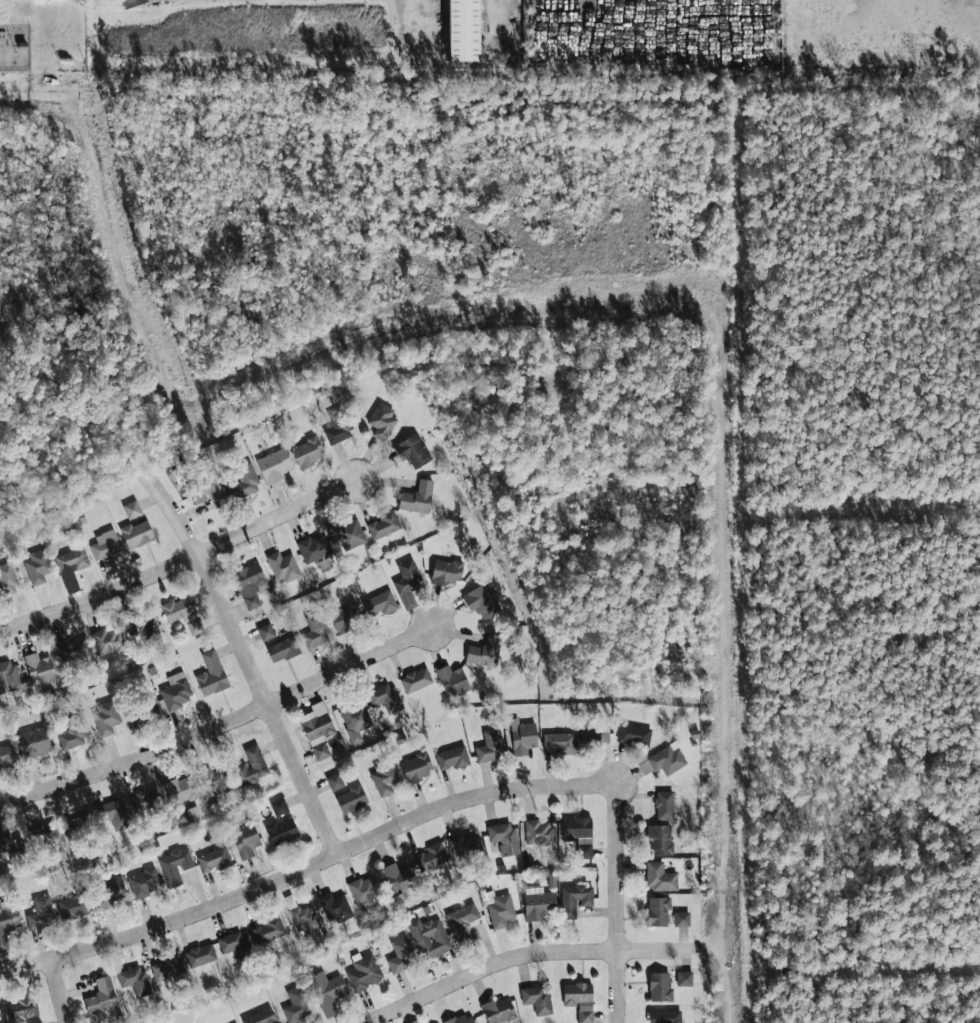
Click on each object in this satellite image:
building: (462, 30)
road: (35, 95)
building: (382, 421)
building: (338, 427)
building: (412, 451)
building: (307, 453)
building: (273, 466)
building: (245, 480)
building: (207, 492)
building: (417, 498)
building: (132, 509)
building: (384, 525)
building: (137, 534)
building: (347, 534)
building: (105, 545)
building: (314, 549)
road: (180, 562)
building: (37, 567)
building: (71, 567)
building: (283, 567)
building: (446, 571)
building: (7, 579)
building: (407, 583)
building: (250, 585)
building: (481, 601)
building: (379, 603)
building: (178, 609)
building: (345, 617)
building: (194, 626)
building: (315, 631)
building: (266, 632)
building: (107, 641)
building: (72, 649)
road: (242, 650)
building: (282, 650)
building: (484, 652)
building: (39, 668)
building: (211, 674)
building: (8, 676)
building: (415, 679)
building: (451, 679)
building: (175, 691)
building: (380, 694)
building: (143, 712)
building: (105, 717)
building: (354, 720)
road: (219, 724)
building: (317, 729)
building: (73, 733)
building: (593, 733)
building: (633, 734)
building: (522, 737)
building: (559, 742)
building: (32, 743)
building: (488, 746)
building: (6, 755)
building: (452, 758)
building: (666, 759)
building: (251, 766)
building: (415, 768)
building: (383, 779)
building: (212, 780)
building: (334, 781)
building: (180, 790)
building: (350, 799)
building: (145, 800)
building: (664, 805)
building: (278, 807)
building: (113, 813)
building: (76, 821)
building: (281, 831)
building: (42, 832)
building: (539, 832)
building: (578, 834)
building: (504, 838)
building: (659, 839)
building: (245, 840)
building: (462, 844)
building: (8, 845)
building: (432, 855)
building: (214, 860)
building: (175, 865)
road: (306, 867)
building: (398, 877)
building: (659, 877)
building: (143, 882)
building: (364, 889)
building: (109, 892)
building: (574, 899)
building: (538, 903)
road: (615, 904)
building: (335, 907)
building: (500, 910)
building: (658, 911)
building: (41, 913)
building: (304, 918)
building: (681, 918)
building: (461, 920)
building: (8, 924)
building: (267, 931)
building: (429, 936)
building: (234, 944)
road: (541, 951)
building: (200, 955)
building: (401, 955)
building: (166, 967)
building: (364, 972)
building: (683, 978)
building: (134, 980)
building: (659, 986)
road: (56, 991)
building: (327, 992)
building: (101, 998)
building: (579, 999)
building: (536, 1000)
building: (297, 1004)
building: (21, 1008)
building: (498, 1010)
building: (260, 1016)
building: (664, 1016)
building: (461, 1018)
building: (1, 1021)
building: (34, 1021)

